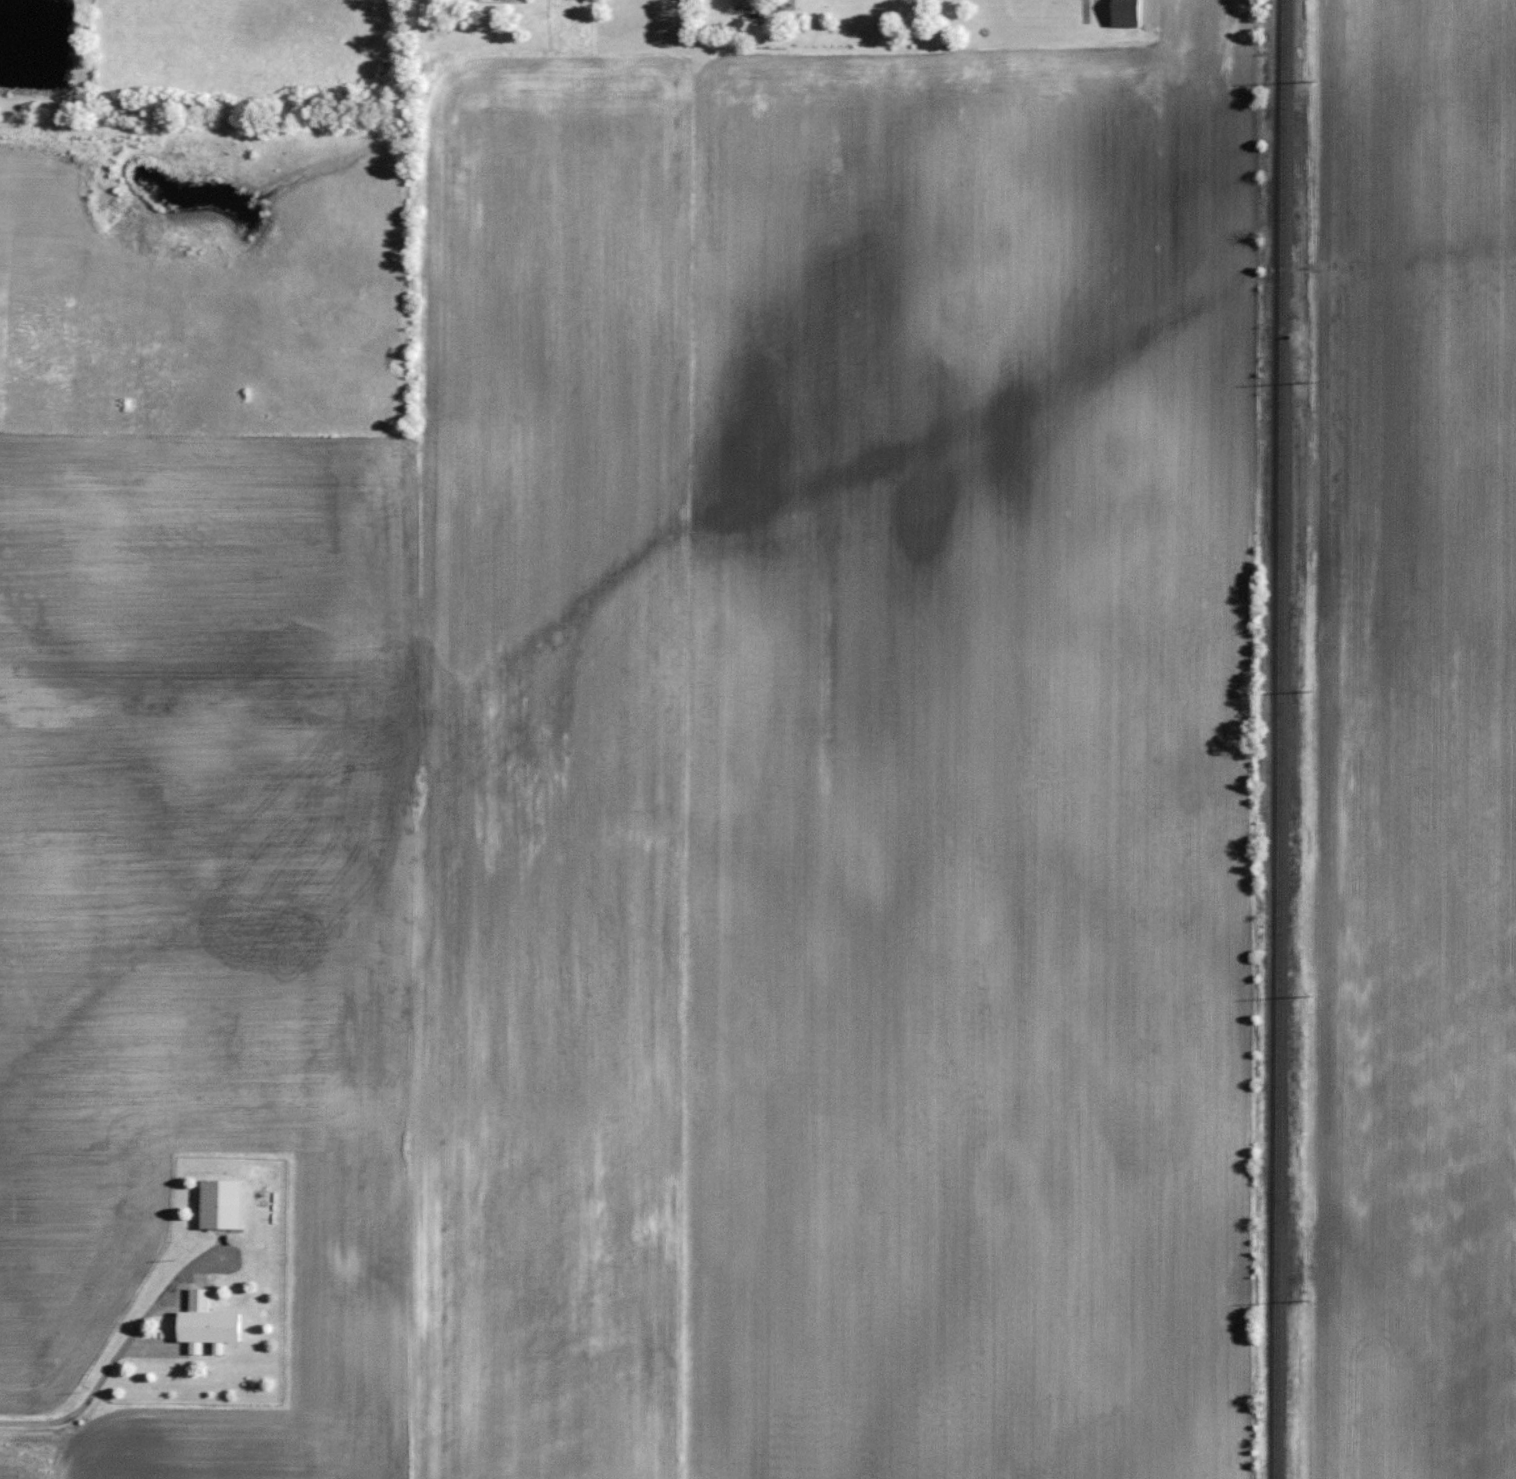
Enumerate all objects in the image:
building: (1130, 13)
railway: (1280, 739)
building: (225, 1203)
building: (211, 1324)
road: (112, 1358)

